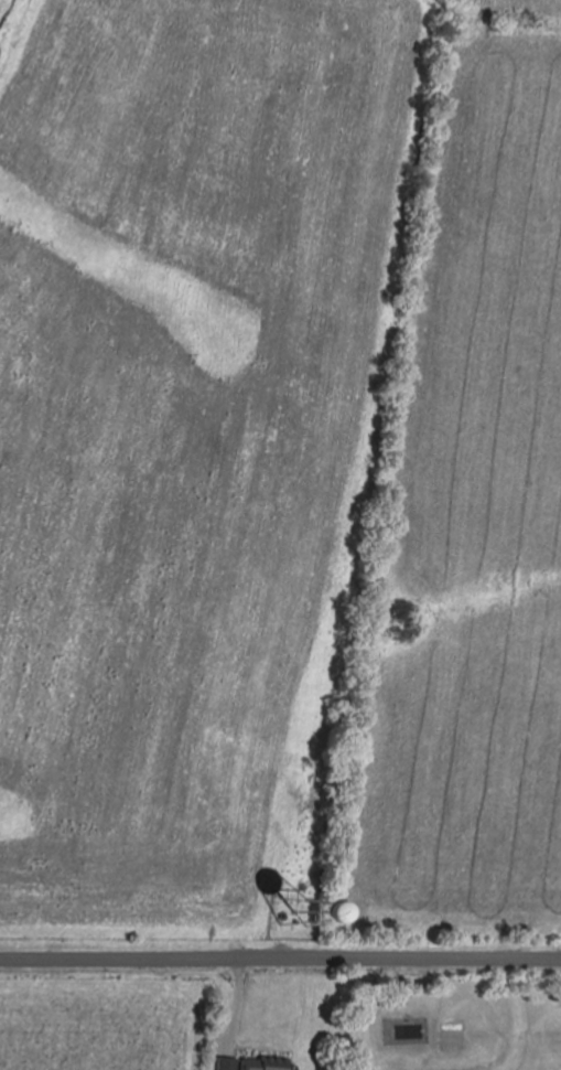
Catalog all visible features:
road: (280, 957)
building: (258, 1063)

